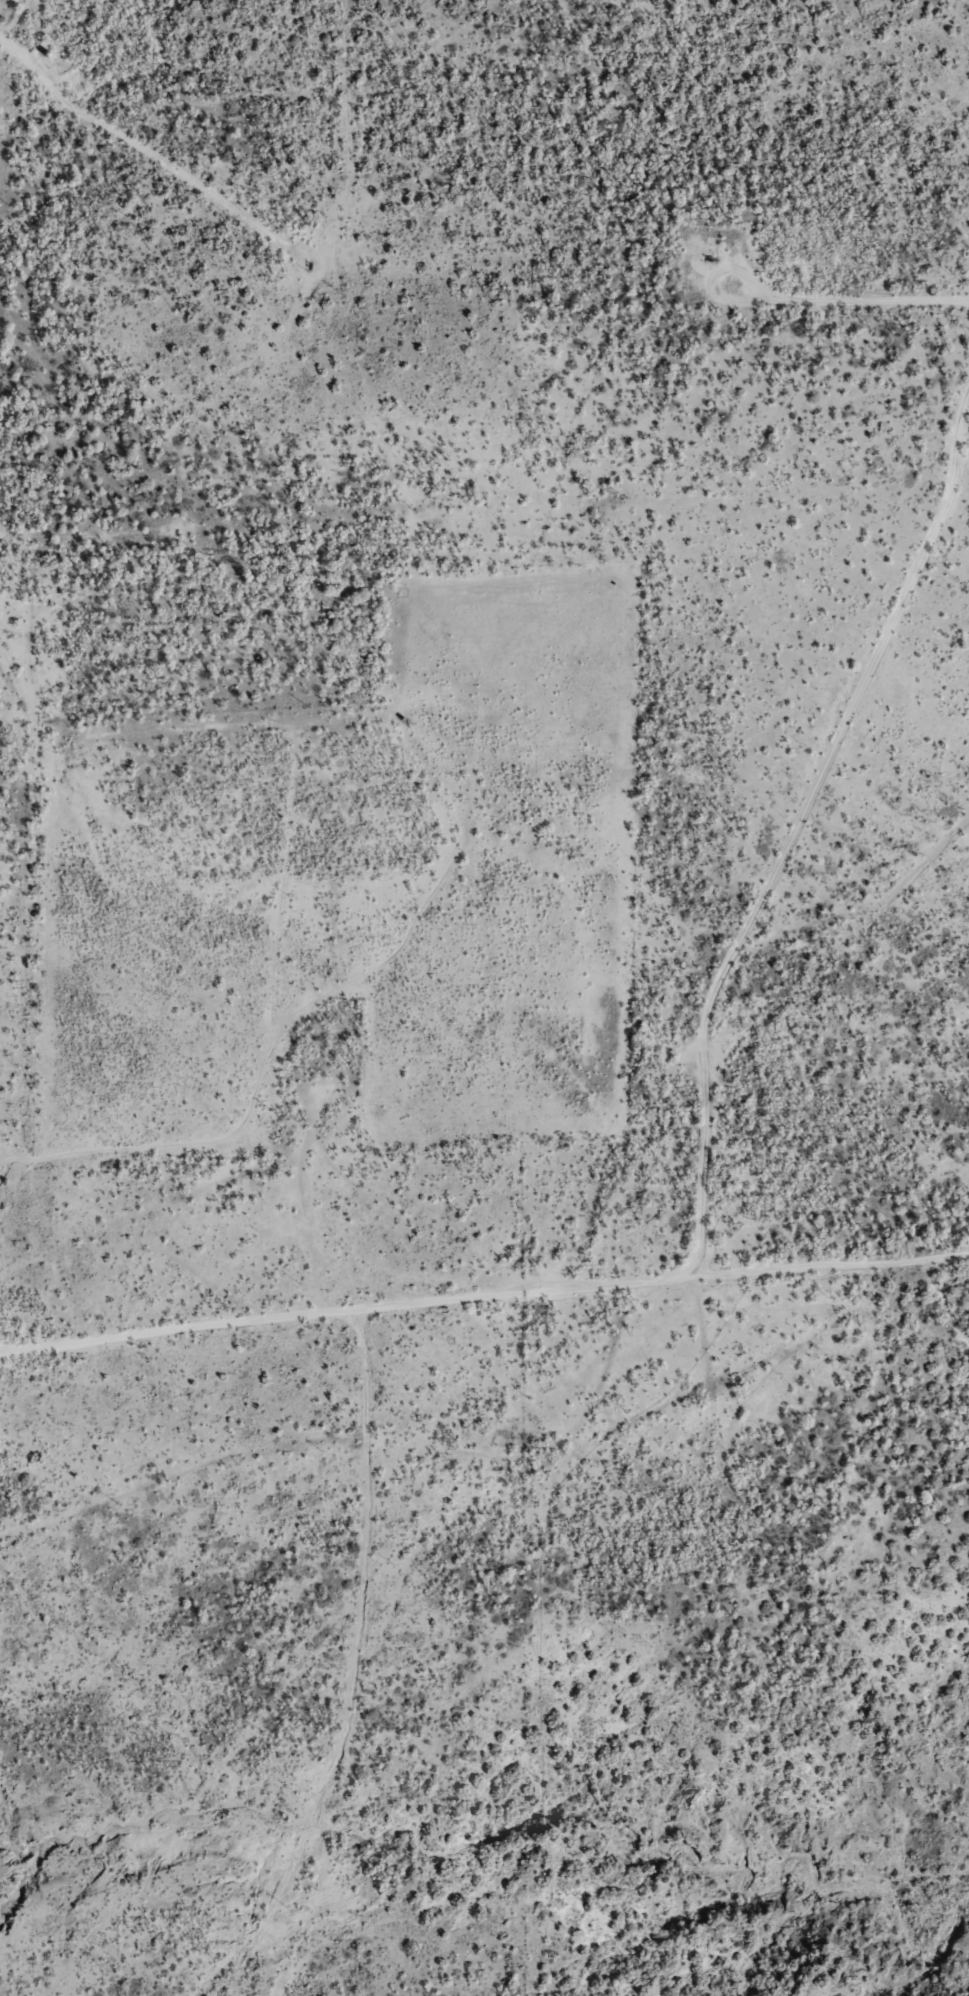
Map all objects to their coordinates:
road: (300, 252)
road: (853, 317)
road: (28, 955)
road: (2, 1164)
road: (315, 1214)
road: (484, 1324)
road: (371, 1643)

